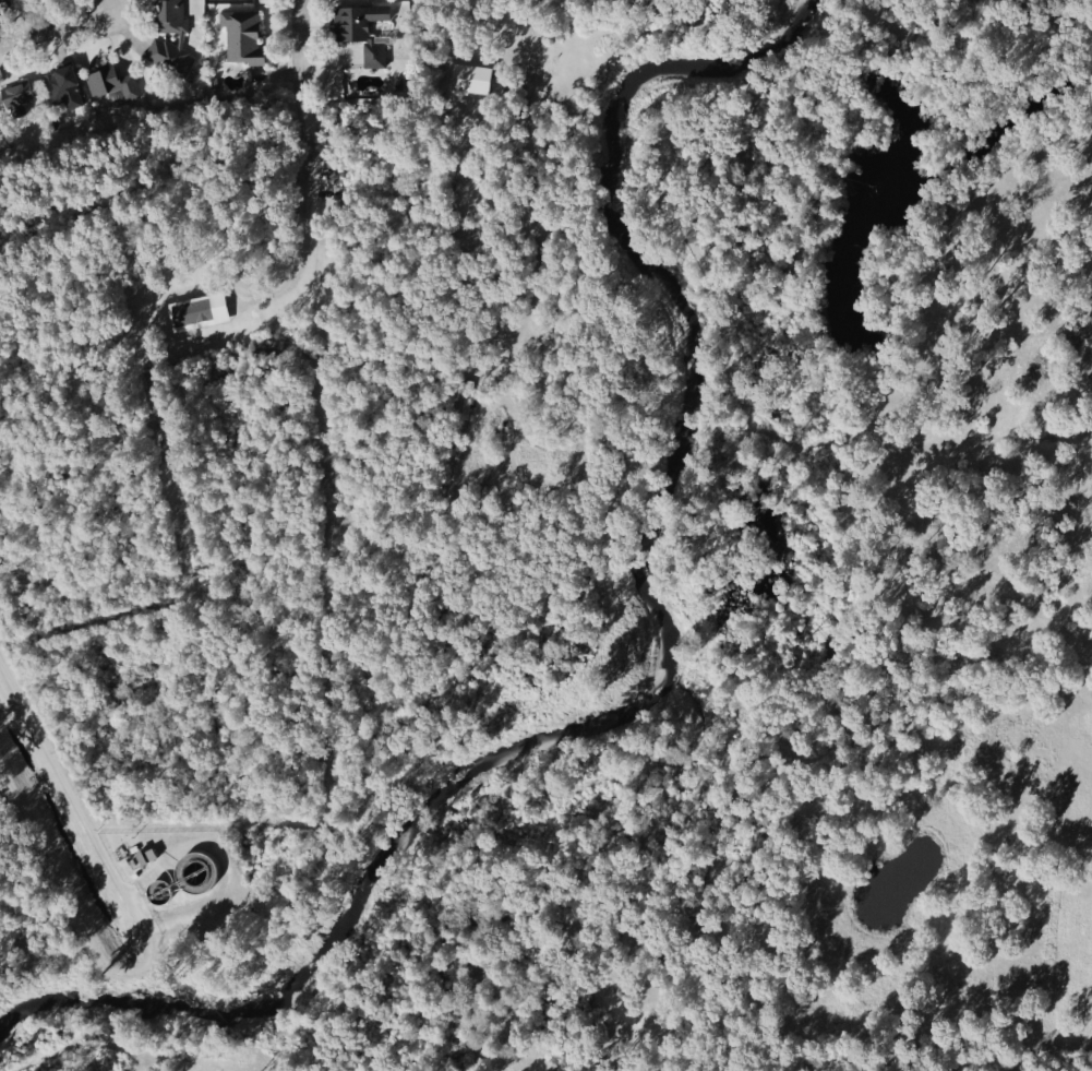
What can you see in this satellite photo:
building: (2, 5)
building: (357, 24)
road: (57, 31)
building: (171, 40)
building: (244, 40)
building: (379, 43)
road: (305, 46)
building: (375, 59)
building: (470, 80)
building: (111, 86)
building: (17, 100)
building: (1, 133)
road: (305, 218)
building: (197, 314)
building: (458, 404)
crop: (1006, 449)
river: (660, 666)
building: (148, 858)
wastewater plant: (182, 882)
park: (34, 924)
road: (144, 933)

